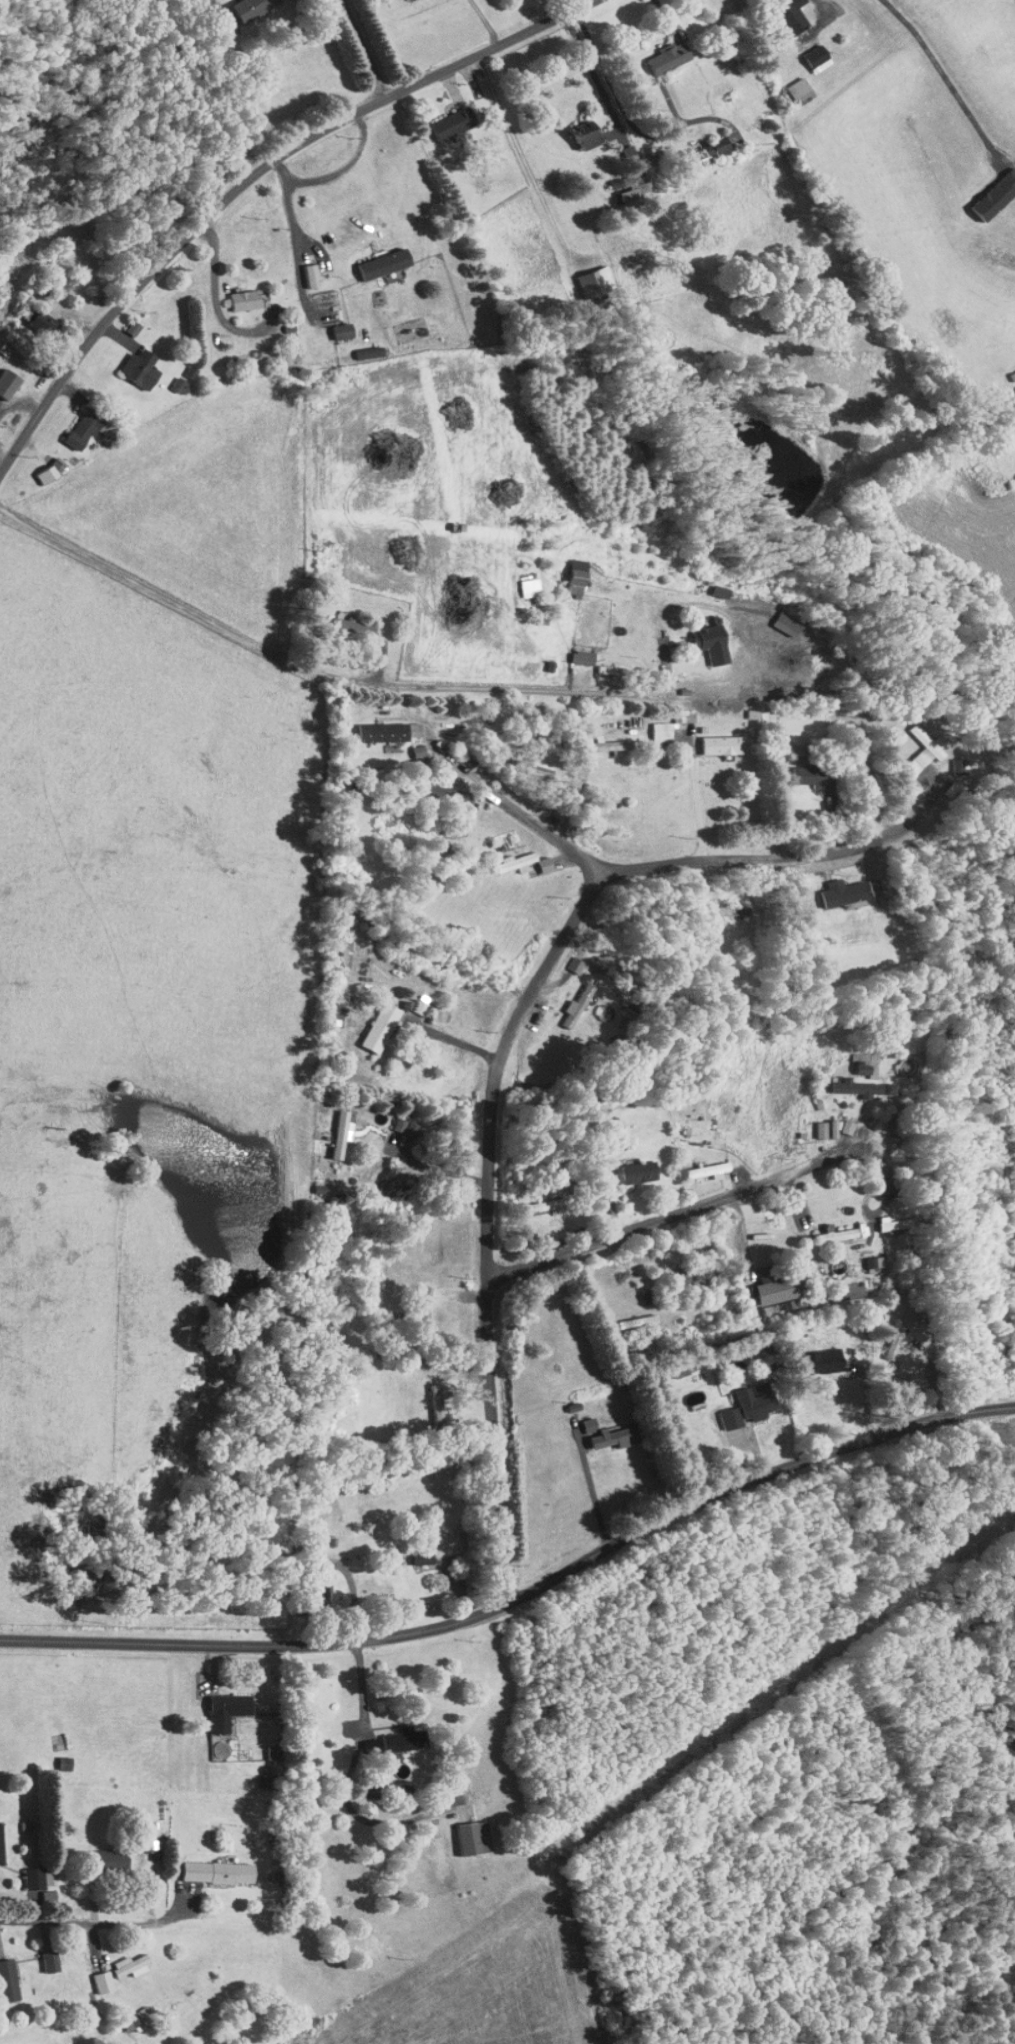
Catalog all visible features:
road: (210, 2)
building: (239, 5)
building: (784, 12)
road: (365, 48)
building: (660, 50)
building: (808, 52)
road: (594, 73)
building: (791, 84)
building: (443, 116)
building: (579, 128)
building: (706, 142)
road: (522, 155)
road: (345, 166)
building: (610, 176)
road: (251, 180)
building: (989, 188)
building: (54, 224)
road: (297, 239)
building: (376, 257)
building: (302, 269)
building: (587, 275)
building: (236, 294)
road: (217, 303)
building: (34, 317)
building: (124, 321)
building: (334, 324)
building: (360, 346)
building: (131, 362)
building: (4, 376)
building: (168, 378)
building: (76, 422)
building: (40, 466)
building: (569, 565)
building: (520, 581)
building: (344, 621)
building: (702, 635)
building: (573, 652)
road: (312, 674)
building: (745, 708)
building: (660, 719)
building: (379, 725)
building: (597, 738)
building: (712, 738)
building: (914, 742)
building: (949, 760)
building: (799, 768)
building: (426, 784)
road: (697, 797)
road: (515, 807)
building: (514, 857)
building: (832, 886)
building: (566, 957)
building: (567, 998)
building: (370, 1022)
road: (448, 1035)
road: (501, 1041)
building: (847, 1082)
building: (818, 1123)
building: (331, 1128)
building: (699, 1164)
building: (628, 1166)
building: (537, 1199)
building: (885, 1217)
building: (829, 1227)
road: (657, 1229)
building: (864, 1256)
building: (768, 1281)
building: (886, 1331)
building: (815, 1354)
building: (447, 1375)
building: (426, 1399)
building: (740, 1399)
building: (580, 1418)
building: (606, 1431)
building: (414, 1552)
road: (521, 1595)
building: (217, 1704)
building: (395, 1733)
building: (55, 1757)
building: (464, 1831)
building: (209, 1865)
building: (29, 1871)
building: (40, 1888)
road: (93, 1922)
building: (41, 1955)
building: (120, 1959)
building: (93, 1975)
building: (4, 1977)
building: (38, 2042)

